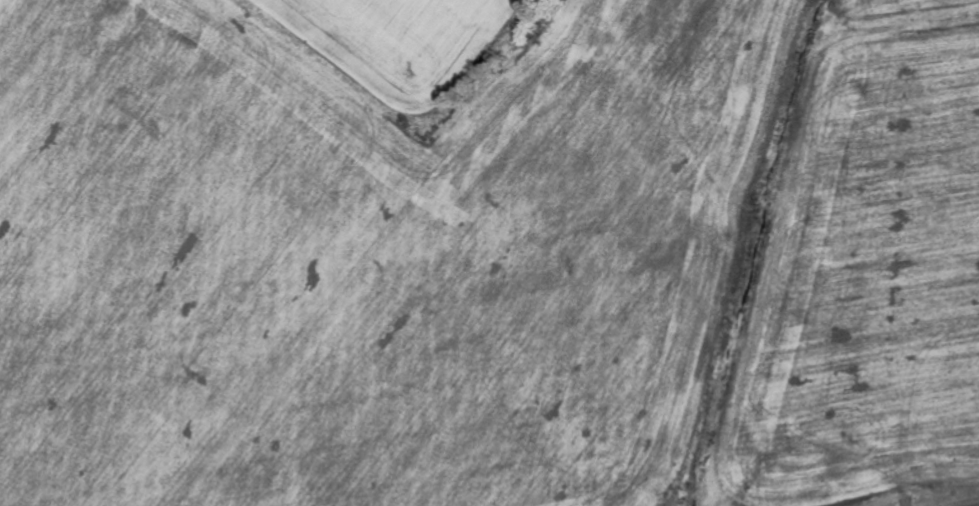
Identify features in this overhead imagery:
road: (961, 502)

